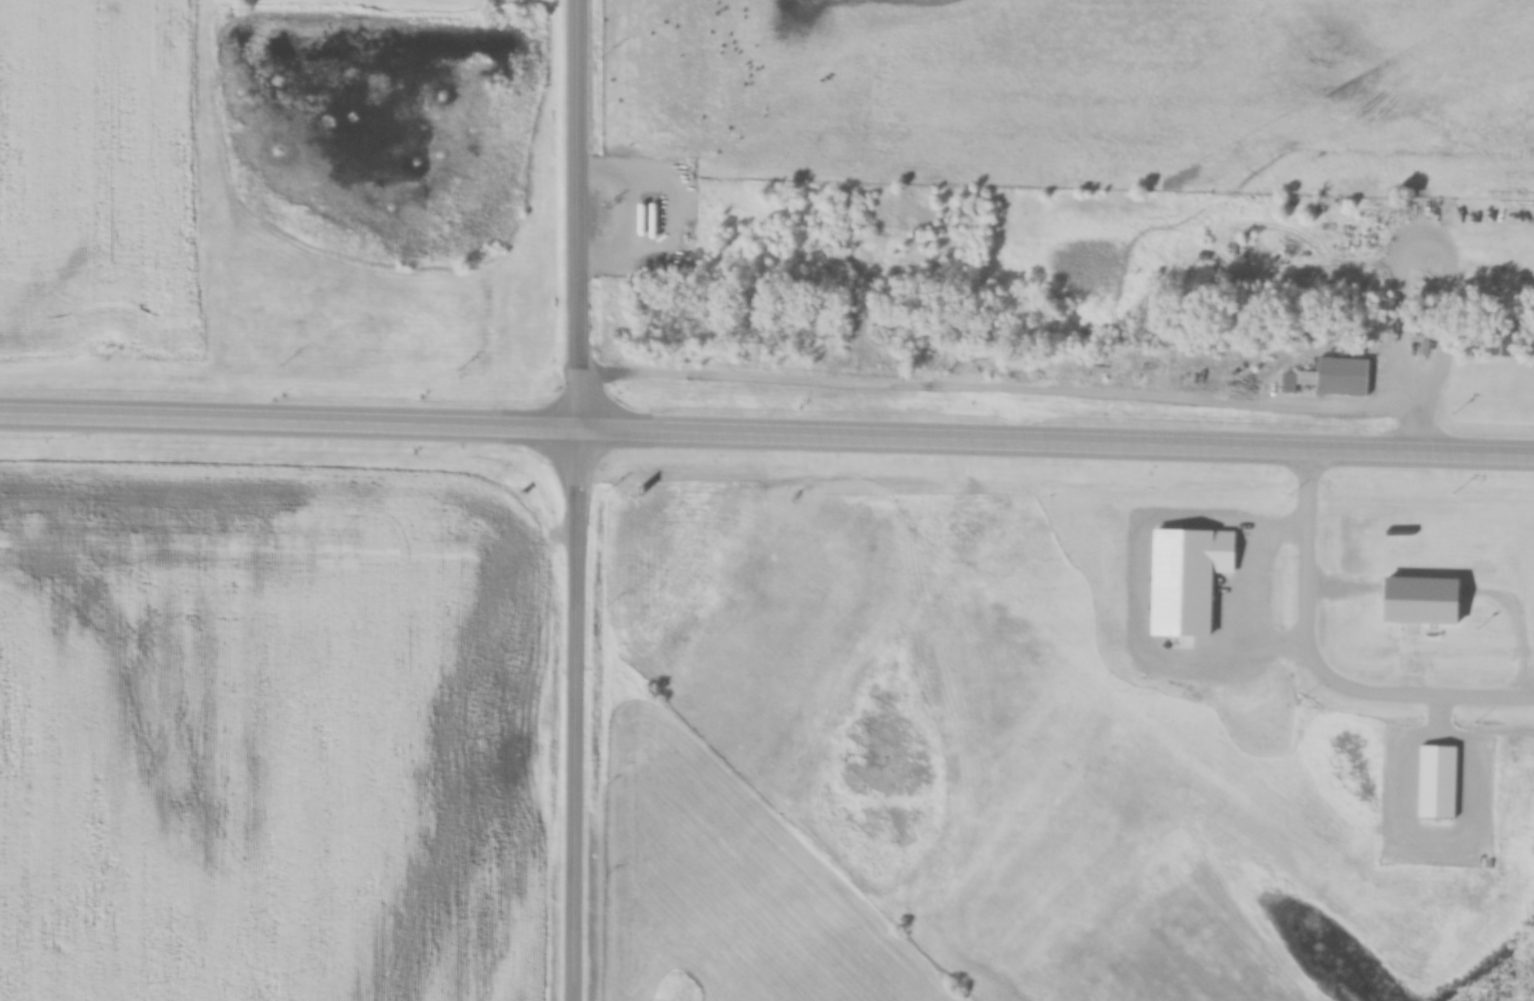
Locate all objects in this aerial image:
building: (653, 221)
building: (1426, 339)
building: (1504, 342)
building: (1333, 377)
road: (743, 432)
road: (1510, 458)
road: (574, 500)
road: (1321, 666)
airport: (1119, 707)
building: (1438, 781)
airport runway: (1145, 957)

